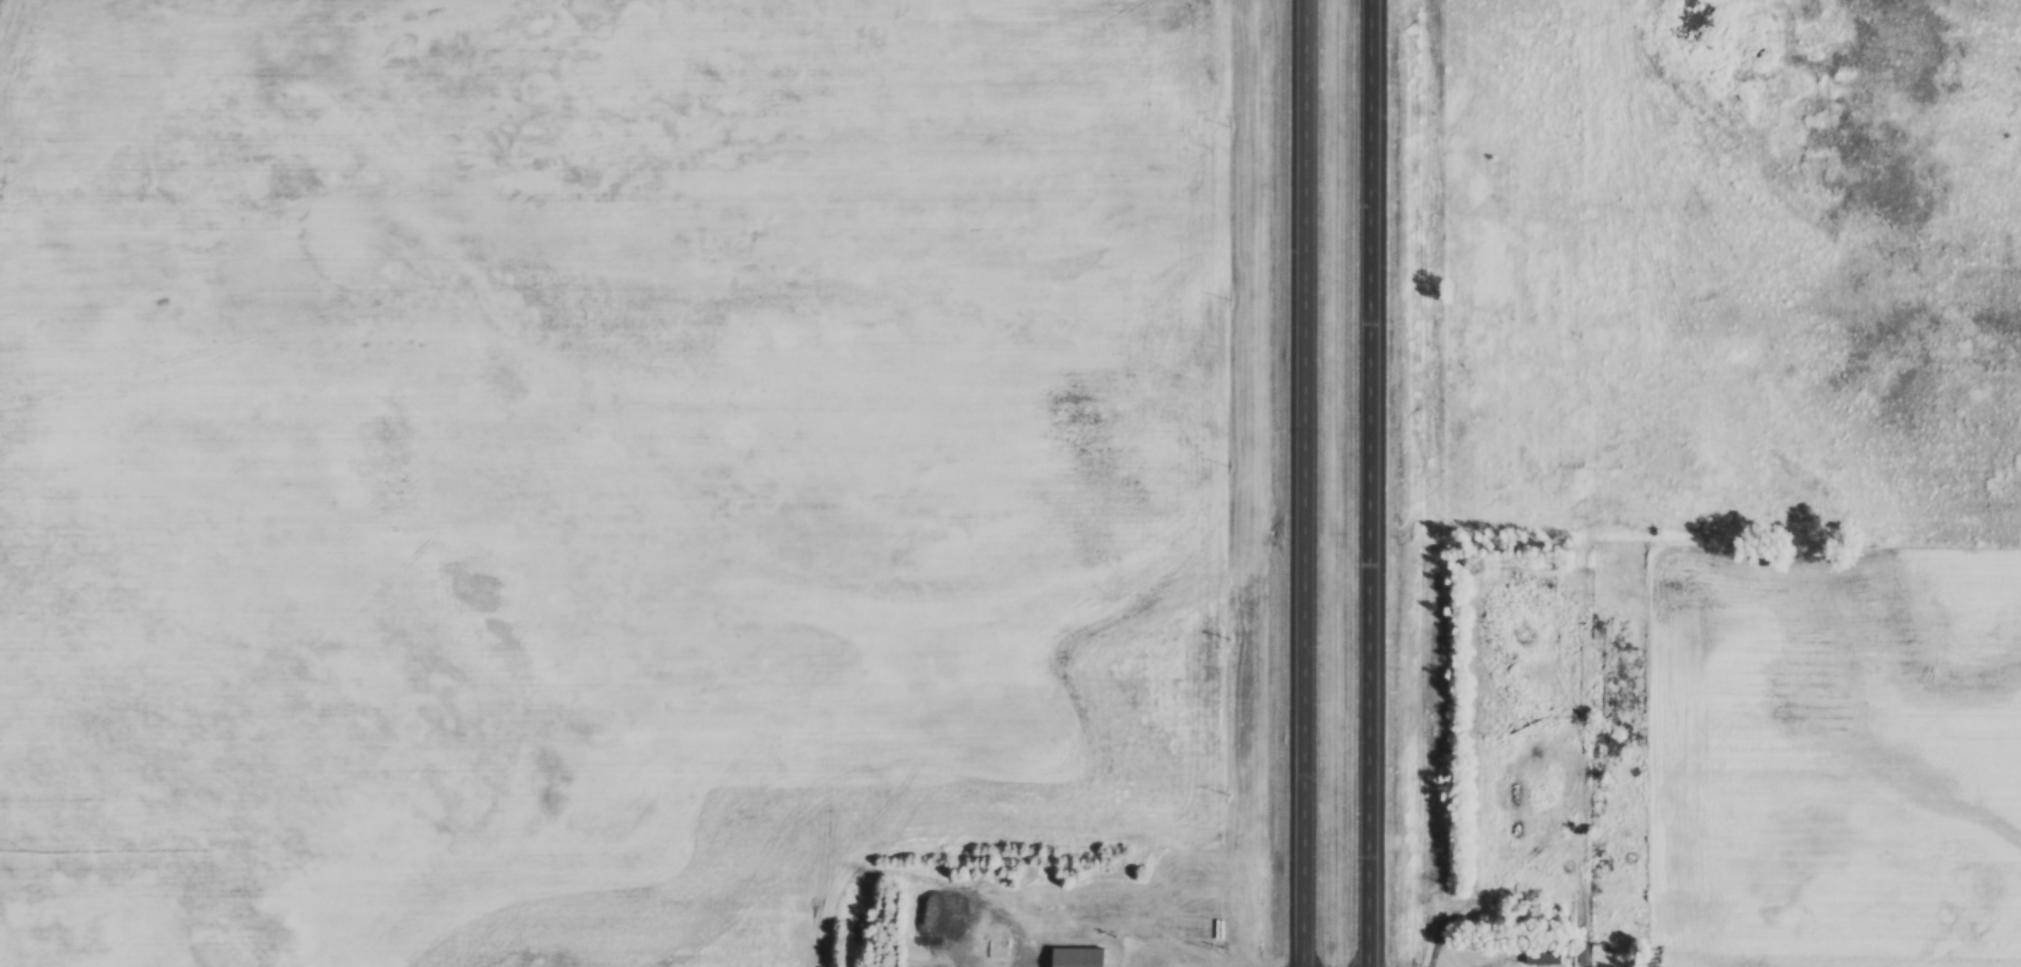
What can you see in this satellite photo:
road: (1308, 483)
road: (1374, 483)
building: (1544, 954)
building: (1081, 956)

